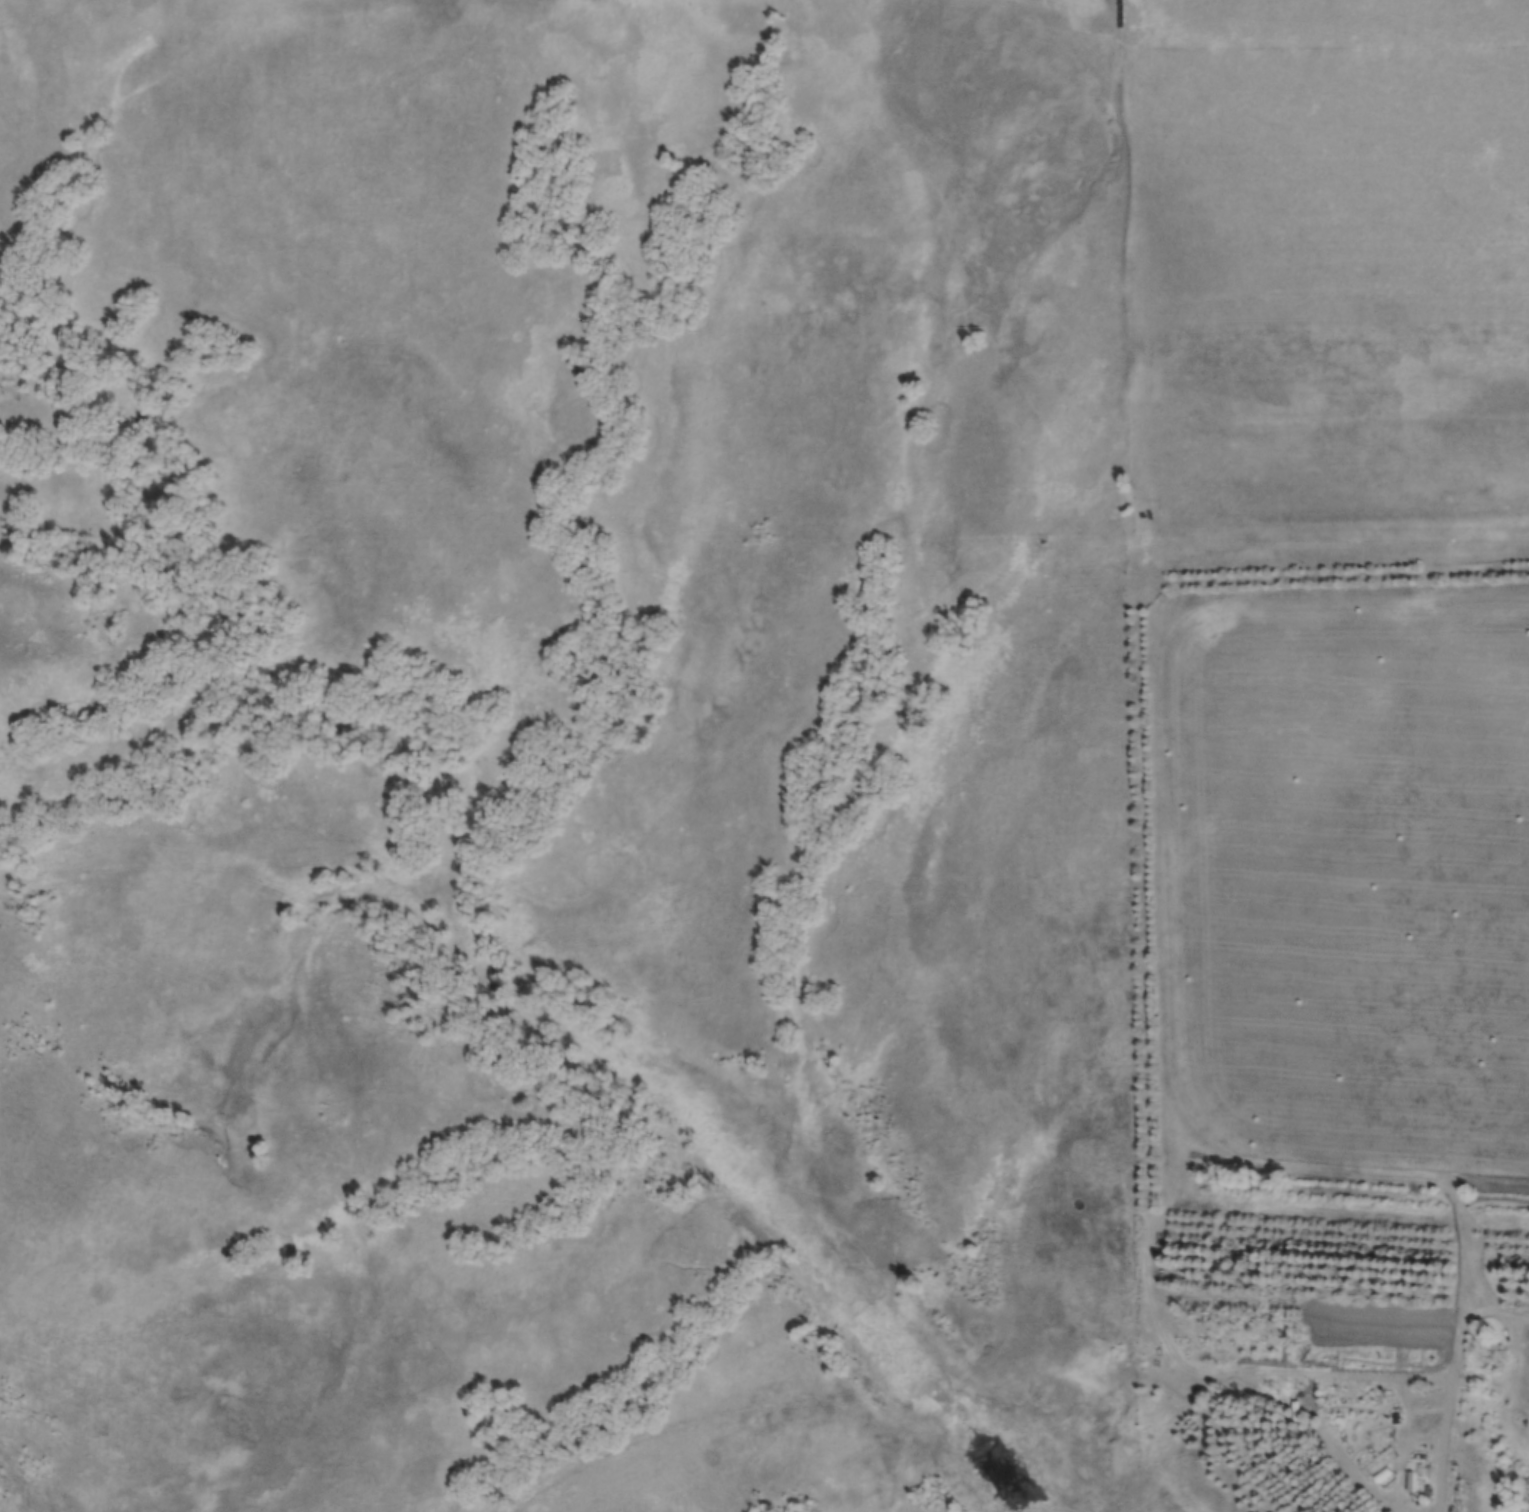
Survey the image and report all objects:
building: (1290, 1410)

